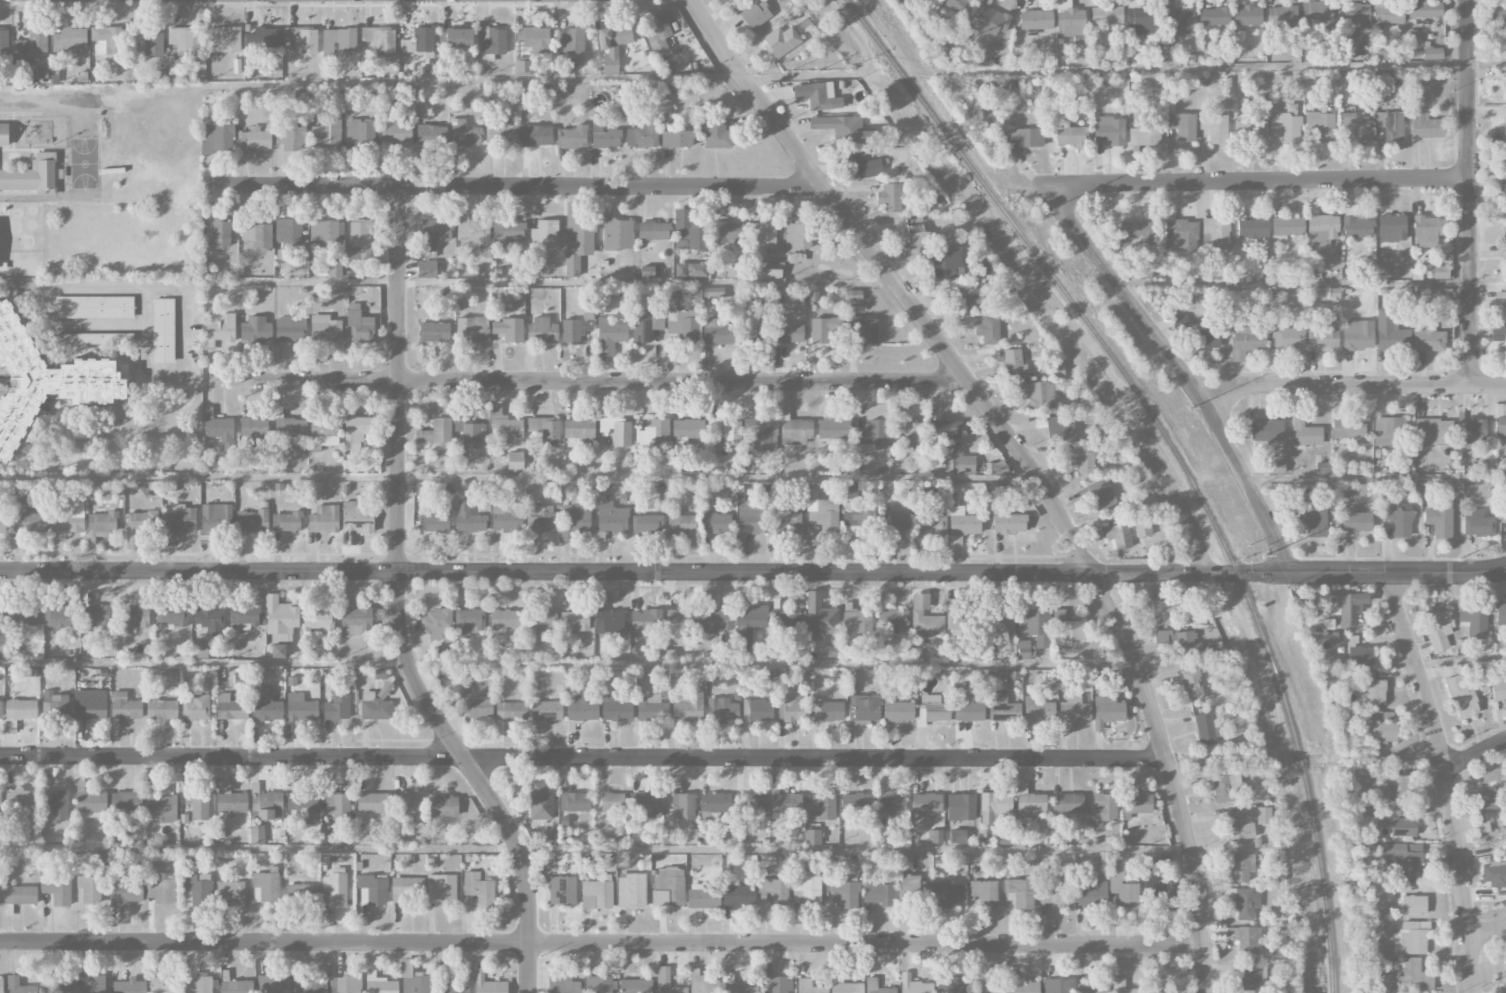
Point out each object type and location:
building: (730, 0)
building: (955, 4)
building: (1425, 9)
building: (1317, 12)
building: (1356, 12)
building: (755, 13)
building: (1388, 13)
building: (1498, 14)
building: (1247, 15)
building: (1281, 15)
building: (1106, 16)
building: (1214, 16)
building: (1036, 19)
building: (1176, 19)
building: (990, 21)
building: (1070, 21)
building: (1140, 21)
building: (656, 31)
building: (614, 36)
building: (70, 37)
building: (459, 37)
building: (109, 38)
building: (263, 38)
building: (223, 39)
building: (303, 39)
building: (380, 39)
building: (534, 39)
building: (184, 40)
building: (419, 40)
building: (153, 41)
building: (570, 41)
building: (31, 42)
building: (339, 42)
building: (492, 42)
building: (4, 43)
building: (777, 43)
building: (1380, 52)
building: (1432, 53)
power tower: (925, 58)
building: (609, 64)
building: (522, 66)
building: (41, 75)
building: (1505, 83)
building: (301, 94)
building: (817, 95)
road: (30, 100)
building: (1181, 124)
building: (1321, 125)
building: (1390, 125)
building: (1425, 126)
building: (1214, 127)
building: (1284, 127)
building: (1357, 127)
building: (1504, 128)
building: (843, 129)
building: (1109, 130)
building: (1250, 130)
building: (292, 132)
building: (327, 132)
building: (464, 133)
building: (3, 134)
building: (502, 134)
building: (603, 134)
building: (716, 134)
building: (360, 135)
building: (393, 135)
building: (430, 135)
building: (536, 135)
building: (1071, 136)
building: (1145, 136)
building: (571, 137)
building: (642, 137)
building: (1025, 137)
building: (217, 138)
building: (676, 138)
building: (255, 139)
building: (1505, 156)
building: (866, 166)
building: (32, 176)
road: (1256, 182)
road: (511, 187)
building: (1505, 191)
road: (1469, 195)
building: (889, 196)
power tower: (1043, 212)
building: (1287, 225)
building: (1358, 227)
building: (1252, 228)
building: (1391, 228)
building: (1321, 229)
building: (653, 230)
building: (1427, 230)
building: (507, 231)
building: (687, 231)
building: (726, 231)
building: (916, 231)
building: (1505, 231)
building: (470, 232)
building: (616, 232)
building: (1135, 233)
building: (217, 234)
building: (257, 234)
building: (544, 234)
building: (1216, 234)
building: (435, 235)
building: (1182, 235)
building: (761, 236)
building: (358, 237)
building: (577, 241)
building: (796, 241)
building: (943, 261)
building: (426, 268)
building: (334, 269)
building: (696, 269)
building: (647, 271)
building: (1142, 271)
building: (1505, 271)
building: (1440, 272)
building: (767, 274)
road: (12, 283)
building: (713, 292)
building: (853, 295)
building: (969, 297)
building: (1505, 299)
building: (603, 303)
building: (93, 307)
road: (143, 319)
building: (1180, 322)
building: (359, 324)
building: (683, 324)
building: (644, 325)
building: (748, 325)
building: (219, 328)
building: (288, 328)
building: (576, 328)
building: (255, 329)
building: (325, 329)
building: (472, 329)
building: (824, 329)
building: (988, 329)
building: (162, 330)
building: (508, 330)
building: (541, 330)
building: (861, 330)
building: (434, 331)
building: (717, 332)
building: (787, 332)
building: (1390, 332)
building: (1323, 335)
building: (1357, 335)
building: (1499, 335)
building: (609, 336)
building: (1205, 336)
building: (1287, 337)
building: (104, 338)
building: (1245, 339)
building: (1428, 339)
road: (187, 349)
building: (1014, 363)
road: (1179, 372)
building: (44, 382)
road: (585, 382)
road: (1348, 389)
building: (1040, 394)
power tower: (1188, 410)
building: (898, 425)
building: (252, 427)
building: (1501, 427)
building: (289, 428)
building: (833, 428)
building: (546, 429)
building: (1348, 429)
building: (220, 430)
building: (687, 430)
building: (723, 430)
building: (1059, 430)
building: (1266, 430)
building: (1470, 430)
building: (357, 431)
building: (502, 431)
building: (617, 431)
building: (1389, 431)
building: (436, 432)
building: (469, 432)
building: (578, 432)
building: (795, 432)
building: (945, 432)
building: (1432, 432)
building: (324, 433)
building: (654, 433)
building: (1305, 433)
building: (915, 434)
building: (761, 435)
building: (872, 436)
railway: (1176, 455)
building: (1082, 458)
building: (514, 461)
road: (1023, 461)
building: (965, 464)
building: (1322, 468)
road: (398, 478)
building: (1503, 509)
building: (824, 514)
building: (179, 517)
building: (434, 518)
building: (468, 518)
building: (506, 518)
building: (541, 518)
building: (574, 518)
building: (67, 519)
building: (324, 519)
building: (766, 519)
building: (858, 519)
building: (1398, 519)
building: (1439, 519)
building: (29, 520)
building: (252, 520)
building: (610, 520)
building: (1354, 520)
building: (286, 521)
building: (355, 521)
building: (1313, 521)
building: (214, 522)
building: (680, 522)
building: (895, 522)
building: (930, 522)
building: (2, 523)
building: (718, 523)
building: (1009, 523)
building: (1478, 523)
building: (647, 524)
building: (962, 524)
building: (101, 525)
building: (137, 525)
building: (1143, 528)
building: (1117, 535)
power tower: (1263, 556)
power tower: (1460, 558)
road: (753, 575)
building: (1348, 610)
building: (1162, 613)
building: (0, 614)
building: (22, 614)
building: (171, 614)
building: (1500, 615)
building: (78, 616)
building: (244, 616)
building: (820, 617)
building: (135, 618)
building: (208, 618)
building: (319, 618)
building: (679, 618)
building: (925, 618)
building: (280, 619)
building: (540, 619)
building: (716, 619)
building: (504, 620)
building: (575, 620)
building: (645, 620)
building: (892, 620)
building: (356, 621)
building: (786, 621)
building: (856, 621)
building: (1473, 621)
building: (467, 622)
building: (609, 622)
building: (1002, 622)
building: (1033, 622)
building: (436, 623)
building: (747, 624)
building: (961, 624)
building: (1437, 628)
building: (1068, 629)
building: (1180, 642)
building: (199, 649)
building: (1024, 649)
building: (280, 650)
building: (1360, 656)
building: (1117, 684)
building: (1192, 685)
building: (1373, 690)
building: (1499, 690)
building: (1462, 697)
building: (268, 703)
building: (90, 704)
building: (792, 705)
building: (861, 705)
building: (0, 706)
building: (125, 706)
building: (232, 706)
building: (300, 707)
building: (374, 707)
building: (196, 708)
building: (336, 708)
building: (480, 708)
building: (689, 708)
building: (933, 708)
building: (161, 709)
building: (581, 709)
building: (615, 709)
building: (652, 709)
building: (1003, 709)
building: (1037, 709)
building: (1074, 709)
building: (546, 710)
building: (757, 710)
building: (968, 710)
building: (19, 711)
building: (511, 711)
building: (721, 711)
building: (829, 711)
building: (898, 711)
building: (1107, 711)
building: (1380, 726)
building: (1205, 729)
road: (1475, 757)
road: (231, 758)
road: (465, 758)
road: (816, 759)
road: (1446, 780)
building: (1504, 786)
building: (1397, 787)
building: (1222, 789)
building: (230, 799)
building: (572, 799)
building: (19, 800)
building: (125, 801)
building: (90, 802)
building: (540, 802)
building: (714, 802)
building: (749, 802)
building: (890, 802)
building: (1029, 802)
building: (57, 803)
building: (372, 803)
building: (785, 803)
building: (926, 803)
building: (1066, 803)
building: (1135, 803)
building: (197, 804)
building: (630, 804)
building: (442, 805)
building: (684, 805)
building: (303, 806)
building: (337, 806)
building: (823, 806)
building: (995, 806)
building: (1484, 806)
building: (411, 807)
building: (857, 807)
building: (960, 807)
building: (161, 808)
building: (1102, 809)
building: (1396, 821)
building: (1238, 826)
building: (256, 834)
building: (882, 834)
building: (687, 836)
building: (935, 836)
building: (957, 836)
building: (812, 837)
road: (1481, 838)
building: (1401, 858)
building: (906, 862)
building: (1241, 865)
road: (524, 869)
building: (1494, 874)
building: (87, 886)
building: (1158, 886)
building: (1402, 886)
building: (160, 887)
building: (265, 887)
building: (668, 887)
building: (806, 887)
building: (197, 888)
building: (334, 888)
building: (406, 888)
building: (441, 889)
building: (479, 889)
building: (913, 889)
building: (1122, 889)
building: (372, 890)
building: (562, 890)
building: (631, 890)
building: (57, 891)
building: (773, 891)
building: (1021, 892)
building: (229, 893)
building: (301, 893)
building: (984, 893)
building: (1090, 893)
building: (125, 894)
building: (596, 894)
building: (842, 894)
building: (878, 894)
building: (947, 894)
building: (1052, 894)
building: (20, 895)
building: (738, 895)
building: (702, 897)
building: (1244, 902)
building: (1413, 905)
road: (1487, 932)
building: (1413, 937)
building: (1246, 939)
road: (600, 944)
building: (1505, 972)
building: (1252, 976)
building: (1414, 976)
building: (774, 981)
building: (415, 982)
building: (667, 982)
building: (872, 982)
building: (198, 983)
building: (270, 983)
building: (1019, 983)
building: (379, 984)
building: (488, 984)
building: (598, 984)
building: (952, 984)
building: (1, 985)
building: (81, 985)
building: (635, 985)
building: (915, 985)
building: (1058, 985)
building: (22, 986)
building: (129, 986)
building: (236, 986)
building: (341, 986)
building: (808, 986)
building: (986, 986)
building: (309, 987)
building: (452, 988)
building: (846, 988)
building: (1093, 988)

